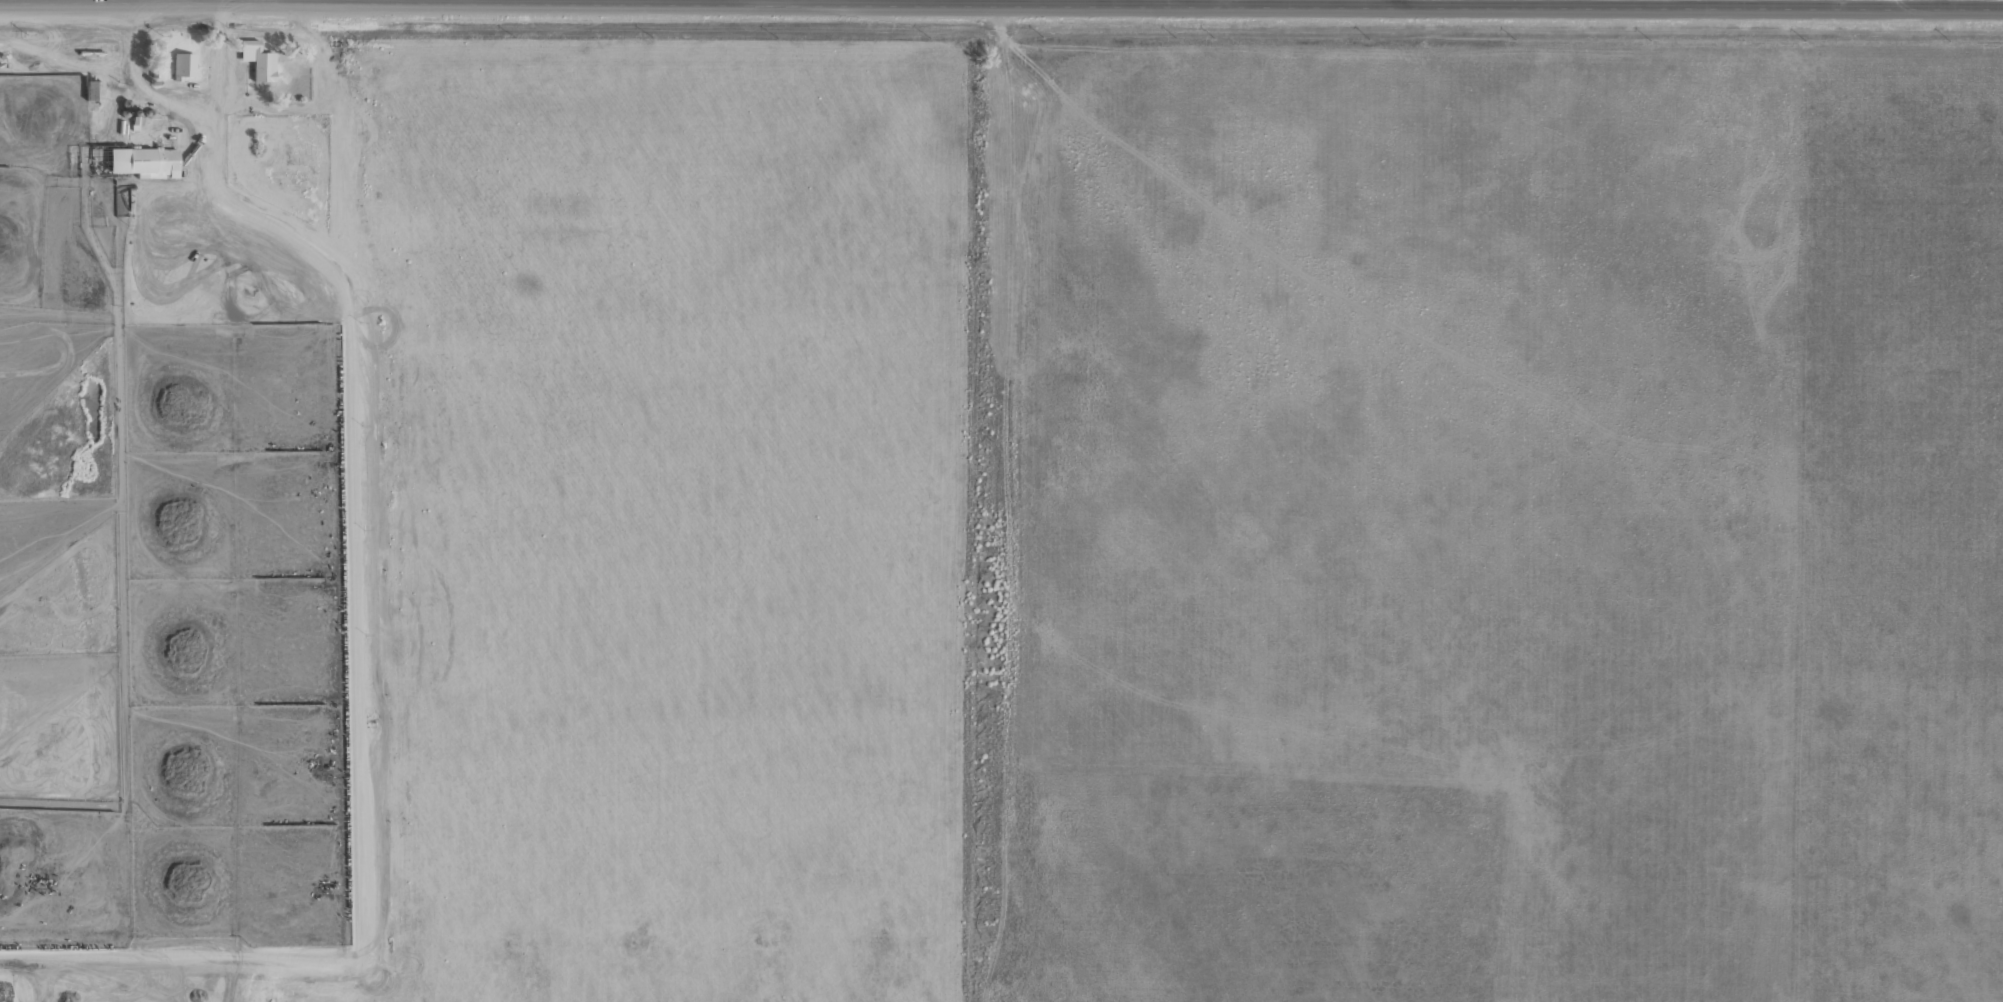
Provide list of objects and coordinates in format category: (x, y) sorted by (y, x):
road: (1931, 3)
road: (1394, 4)
road: (1001, 5)
building: (182, 65)
building: (91, 91)
building: (149, 161)
road: (318, 183)

